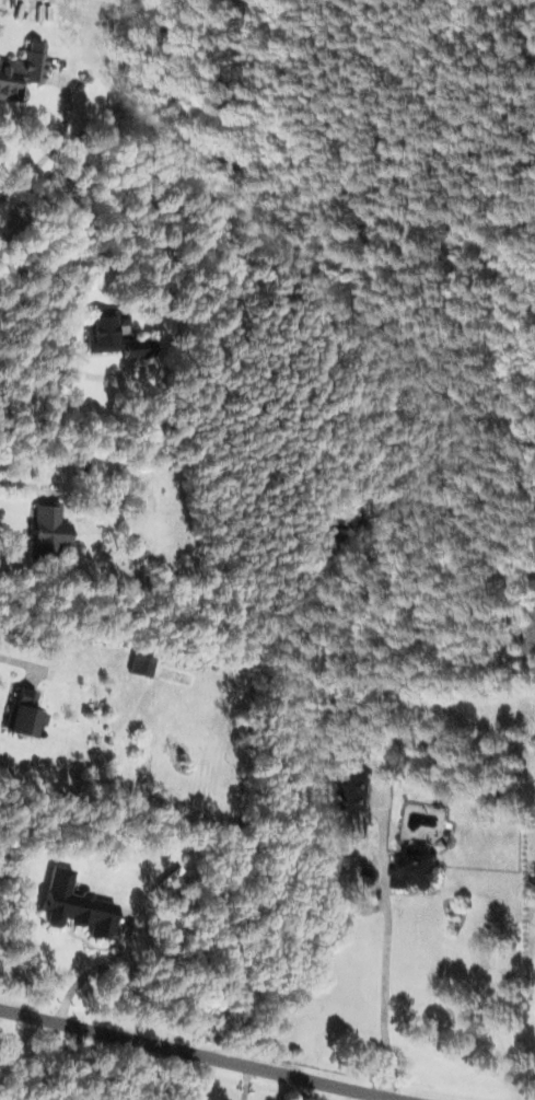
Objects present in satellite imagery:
building: (21, 71)
road: (53, 148)
building: (113, 335)
building: (46, 532)
building: (140, 665)
building: (23, 715)
building: (360, 792)
building: (417, 868)
building: (74, 905)
road: (386, 945)
road: (197, 1055)
road: (61, 1063)
road: (245, 1084)

